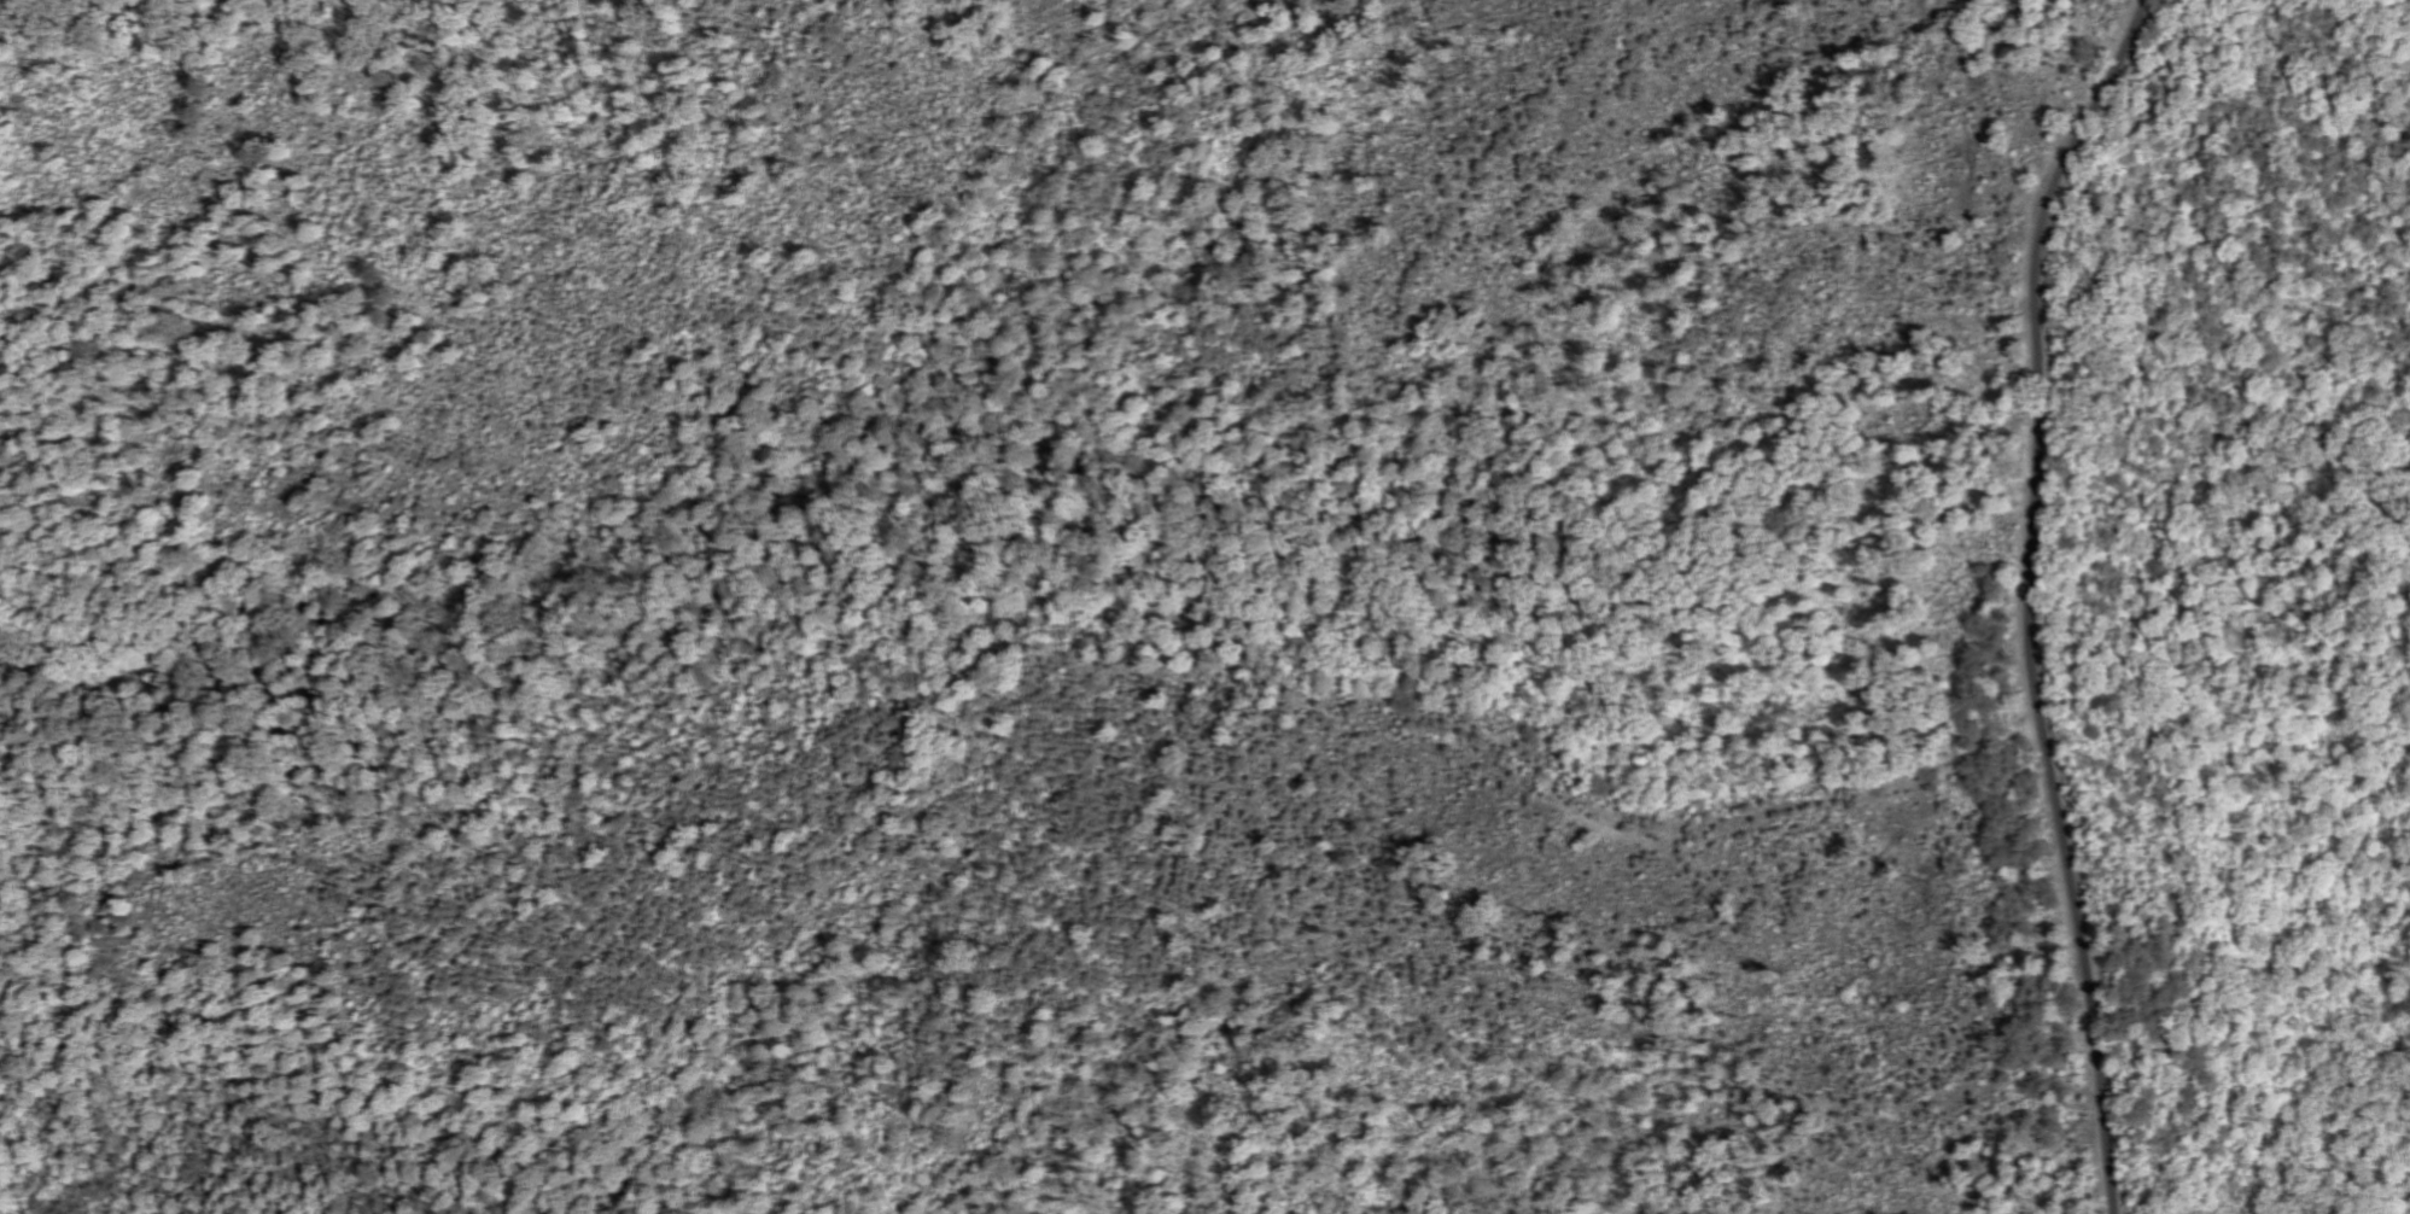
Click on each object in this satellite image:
road: (2036, 597)

